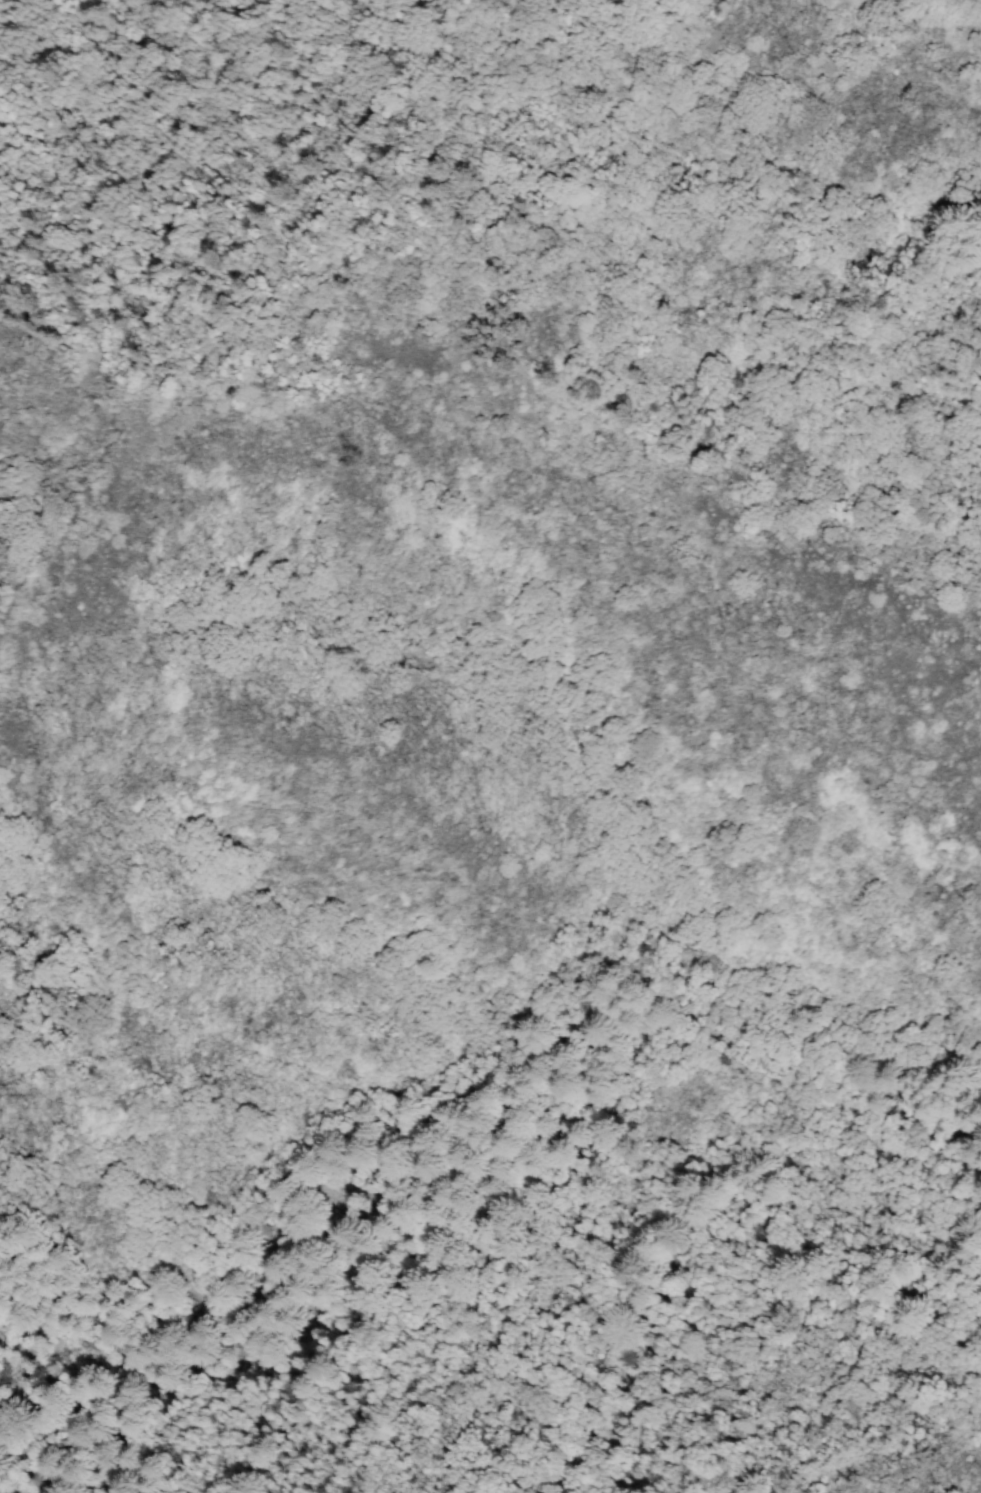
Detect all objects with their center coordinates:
road: (733, 22)

